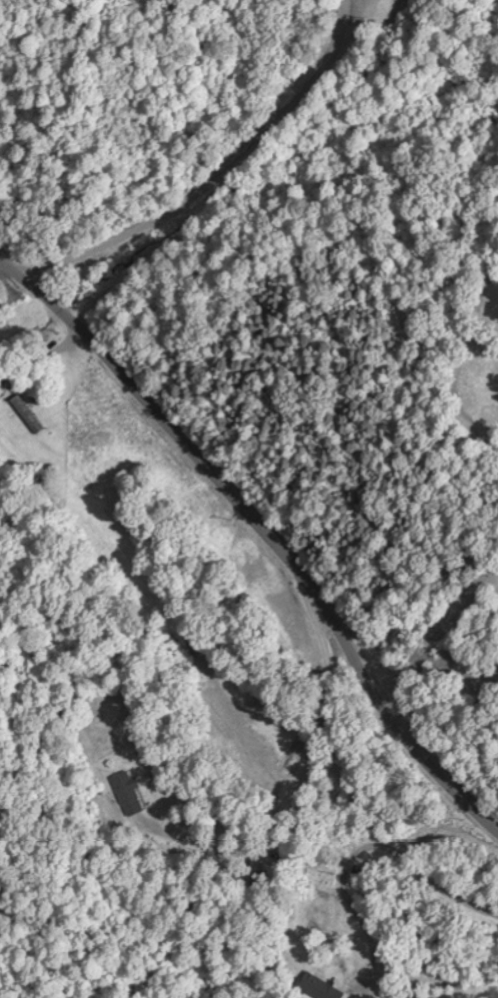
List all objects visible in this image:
building: (1, 390)
road: (263, 536)
building: (319, 987)
building: (415, 995)

